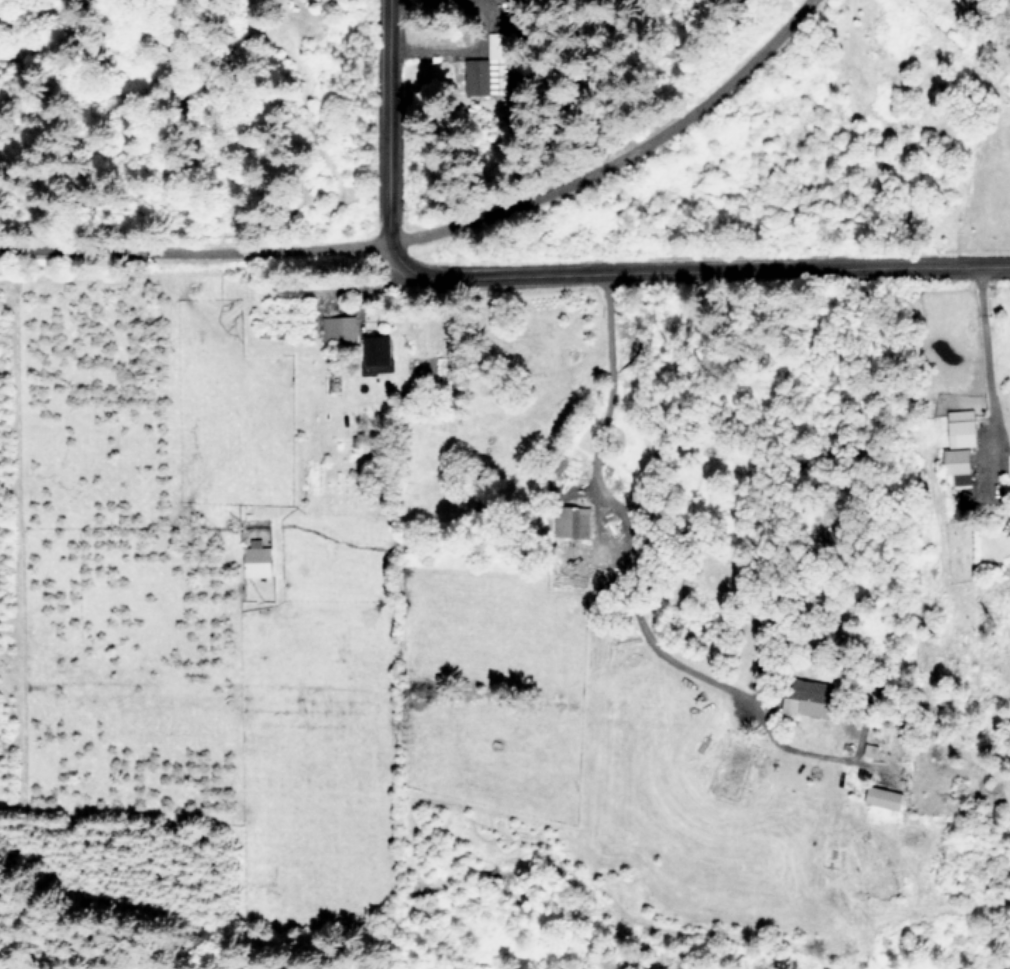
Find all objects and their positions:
road: (412, 5)
building: (490, 66)
road: (389, 120)
road: (611, 154)
road: (192, 256)
road: (690, 264)
building: (340, 327)
building: (379, 351)
road: (981, 369)
building: (962, 427)
building: (959, 467)
building: (962, 505)
road: (621, 510)
building: (576, 521)
building: (258, 559)
building: (818, 699)
building: (884, 796)

